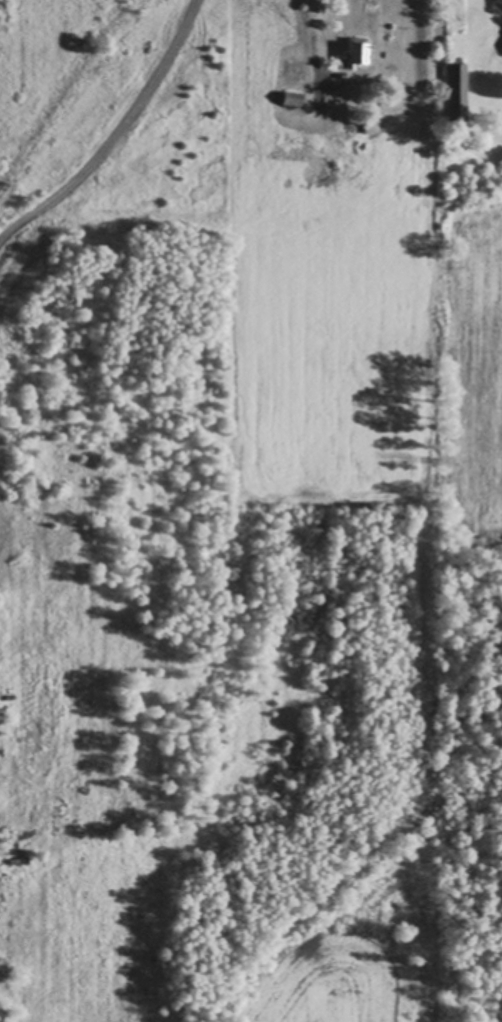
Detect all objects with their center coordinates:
building: (355, 51)
building: (454, 91)
building: (290, 98)
building: (347, 127)
building: (367, 127)
road: (114, 134)
building: (349, 157)
building: (329, 176)
building: (379, 507)
building: (14, 860)

